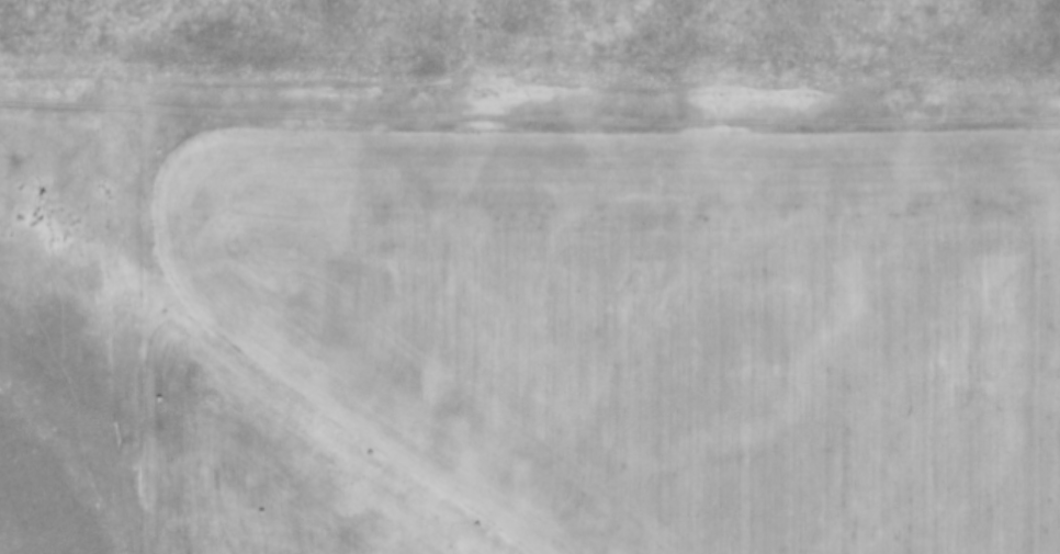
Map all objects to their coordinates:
road: (530, 101)
road: (116, 477)

